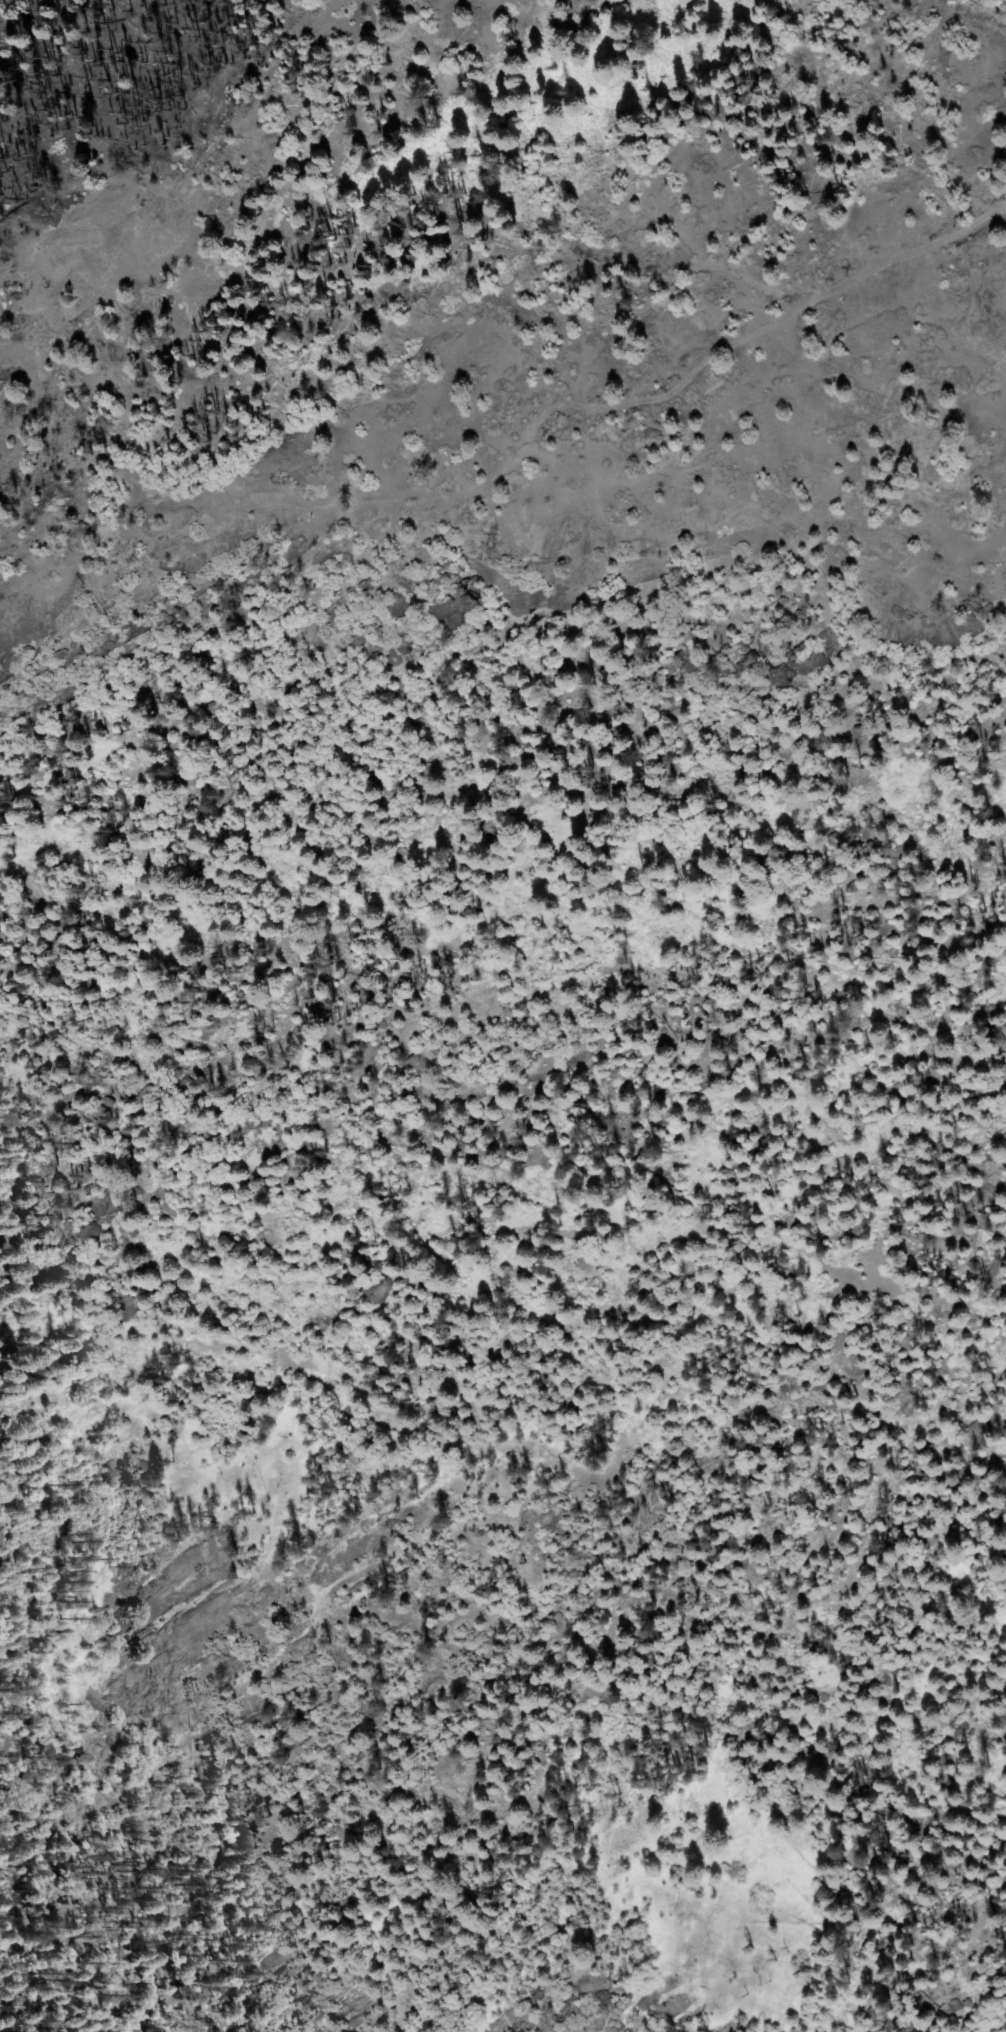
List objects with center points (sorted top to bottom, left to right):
road: (466, 485)

